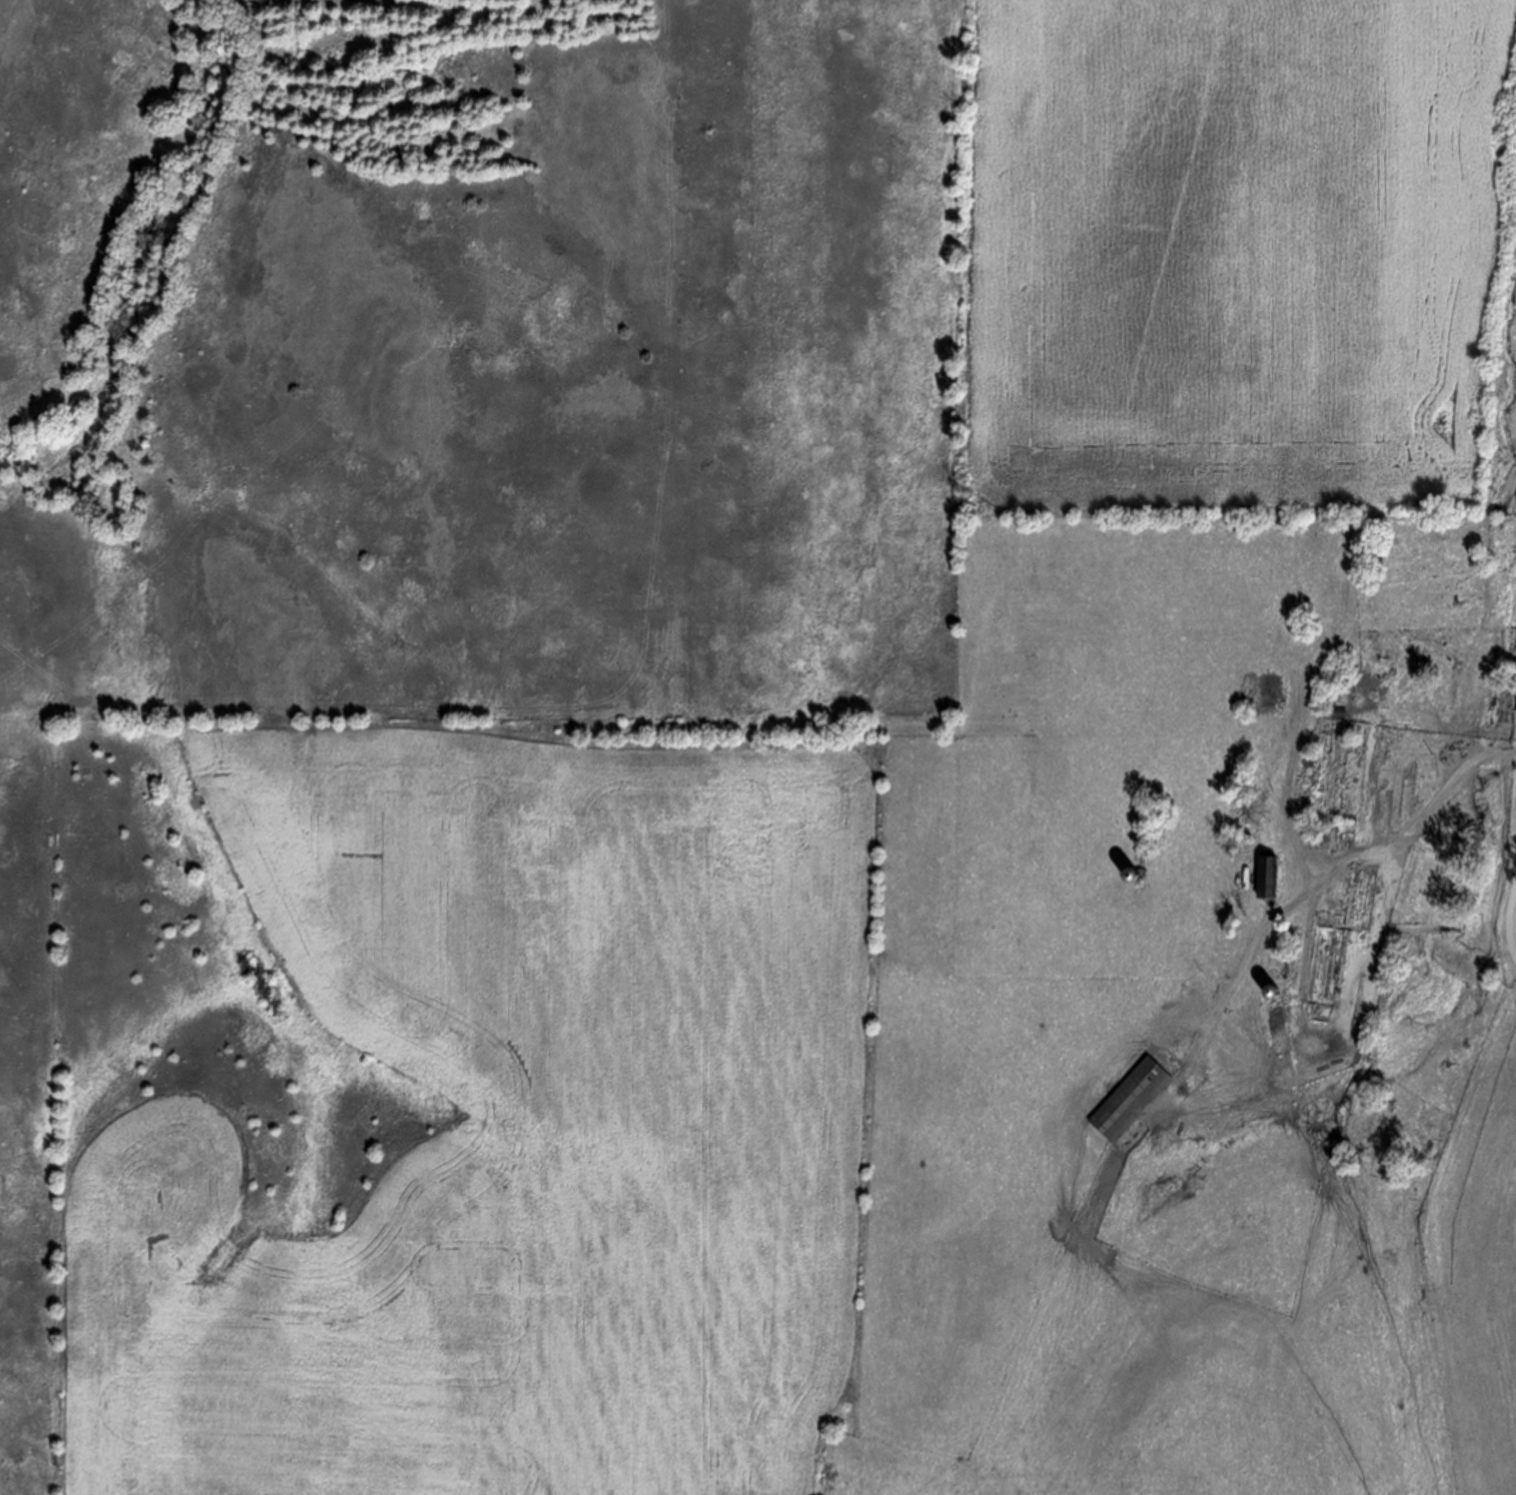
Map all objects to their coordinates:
building: (1269, 877)
road: (1322, 882)
road: (1511, 924)
building: (1269, 992)
building: (1131, 1098)

